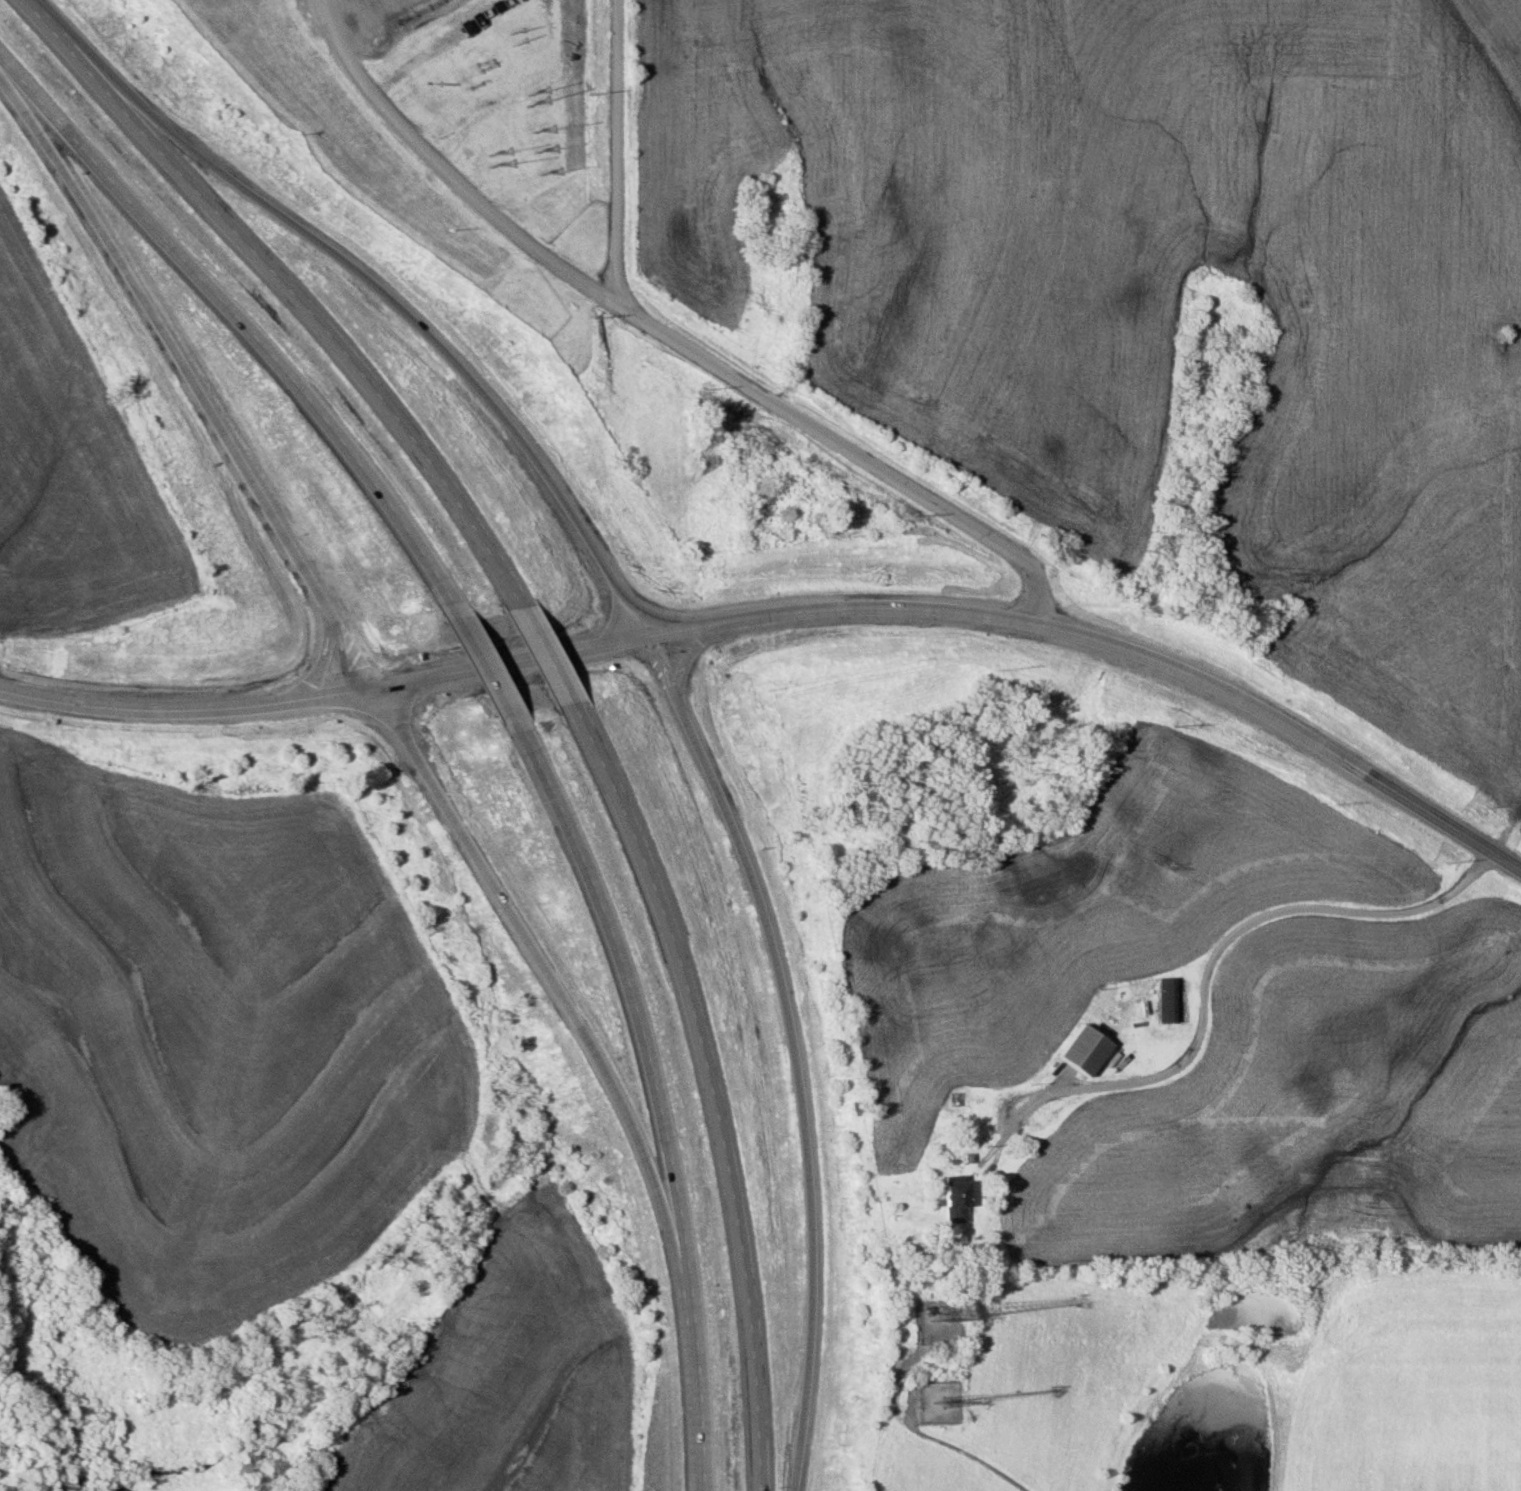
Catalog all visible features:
road: (618, 154)
road: (287, 290)
road: (413, 316)
road: (242, 322)
road: (664, 333)
road: (193, 371)
road: (1110, 642)
road: (546, 653)
road: (510, 661)
road: (488, 671)
road: (186, 704)
road: (534, 969)
road: (1205, 971)
road: (620, 987)
building: (1165, 1000)
building: (1079, 1050)
road: (798, 1051)
road: (711, 1091)
building: (954, 1099)
building: (951, 1199)
road: (703, 1372)
road: (918, 1436)

